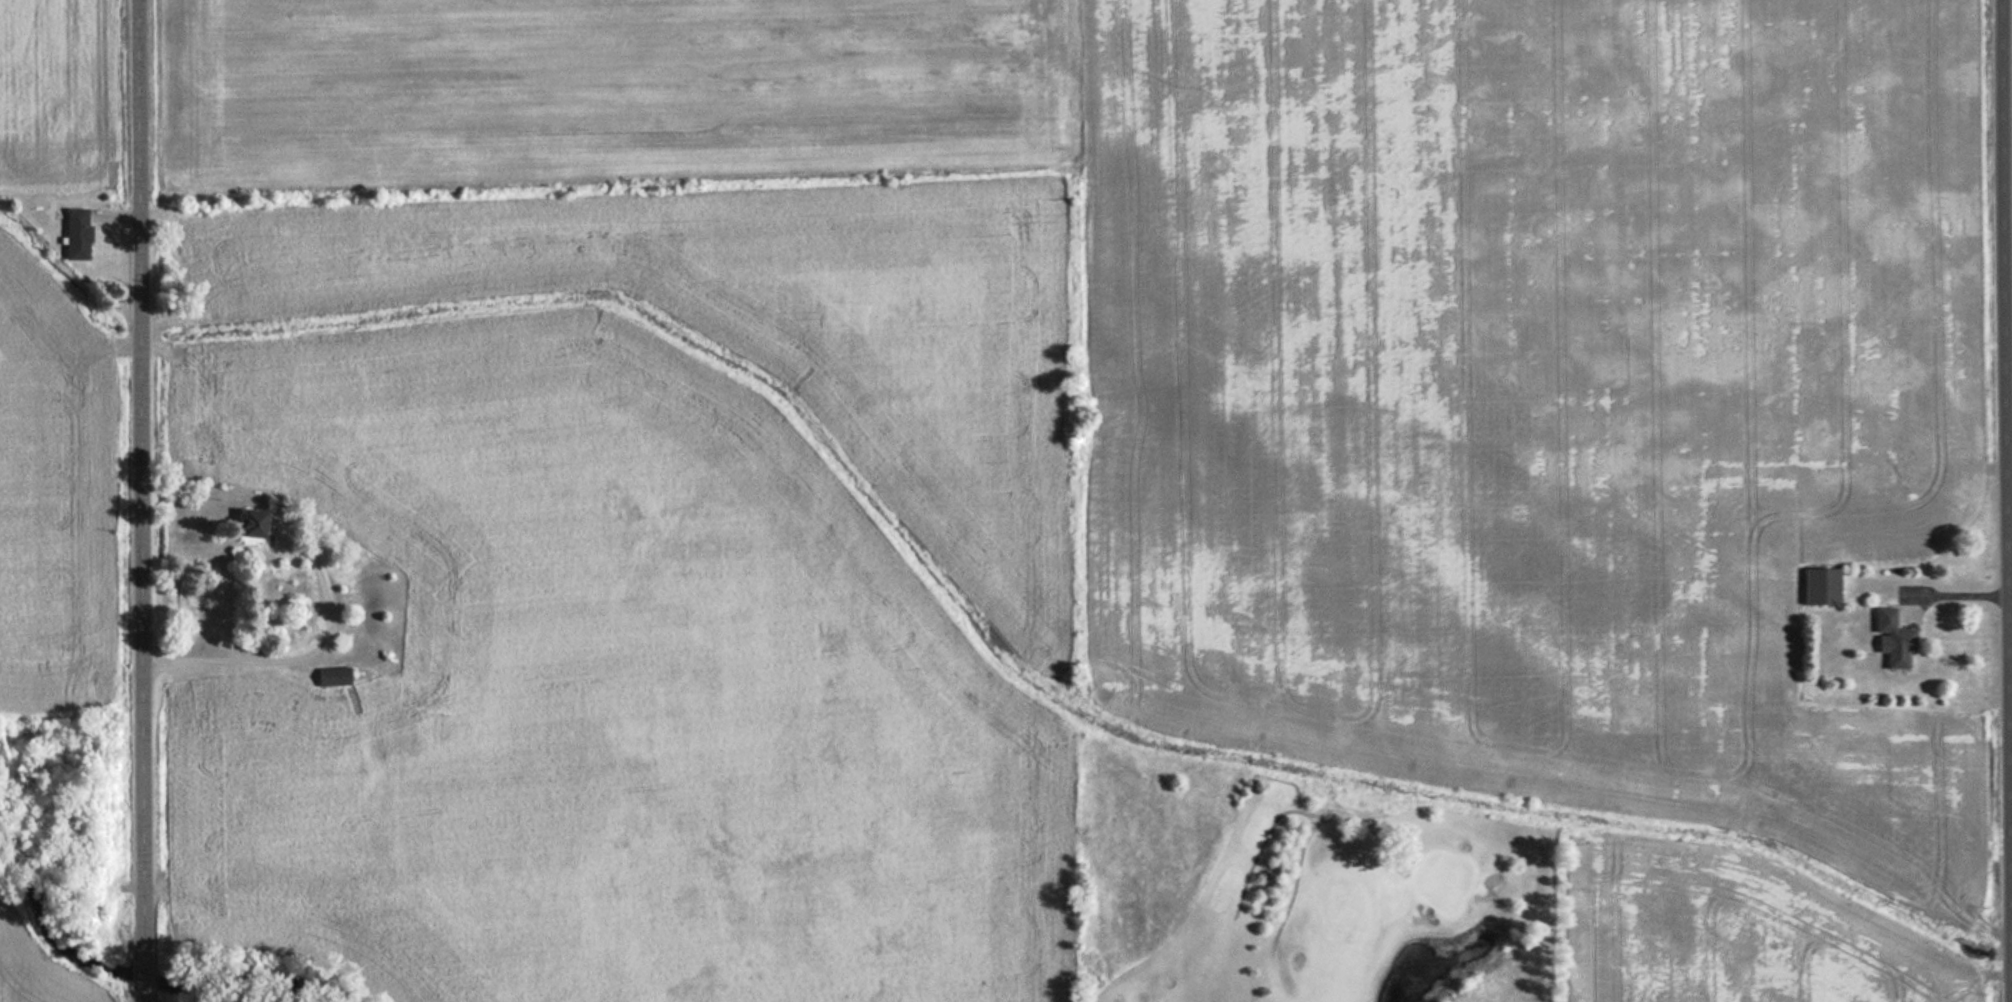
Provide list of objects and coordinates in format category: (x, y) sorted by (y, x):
building: (78, 234)
road: (2008, 314)
road: (146, 500)
building: (266, 529)
building: (1821, 586)
building: (1892, 638)
building: (333, 676)
park: (1306, 888)

